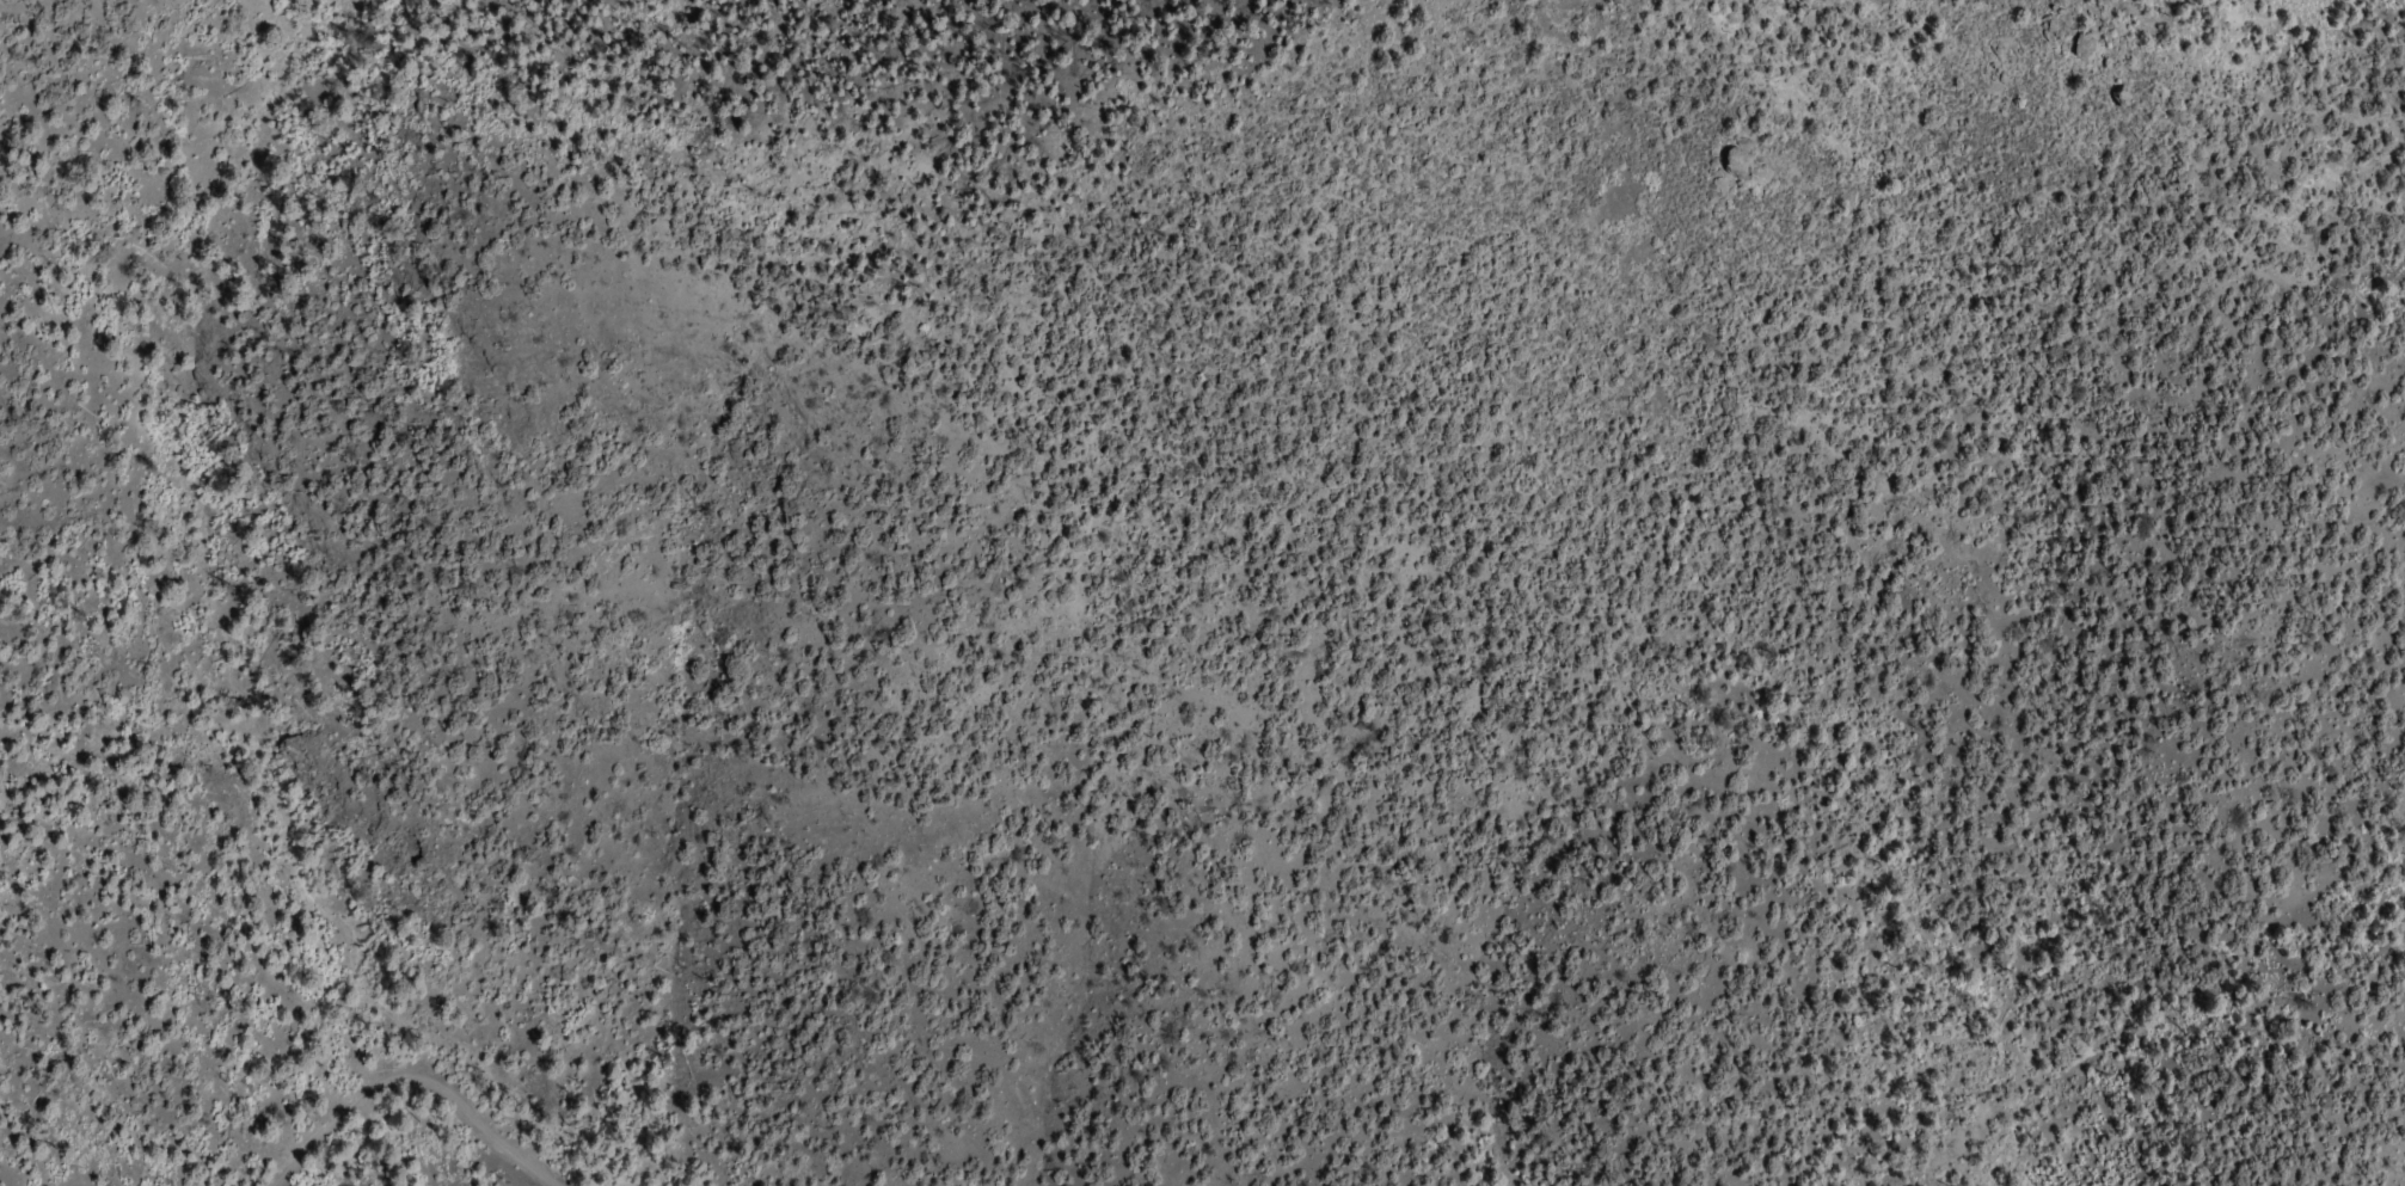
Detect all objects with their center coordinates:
road: (409, 1079)

